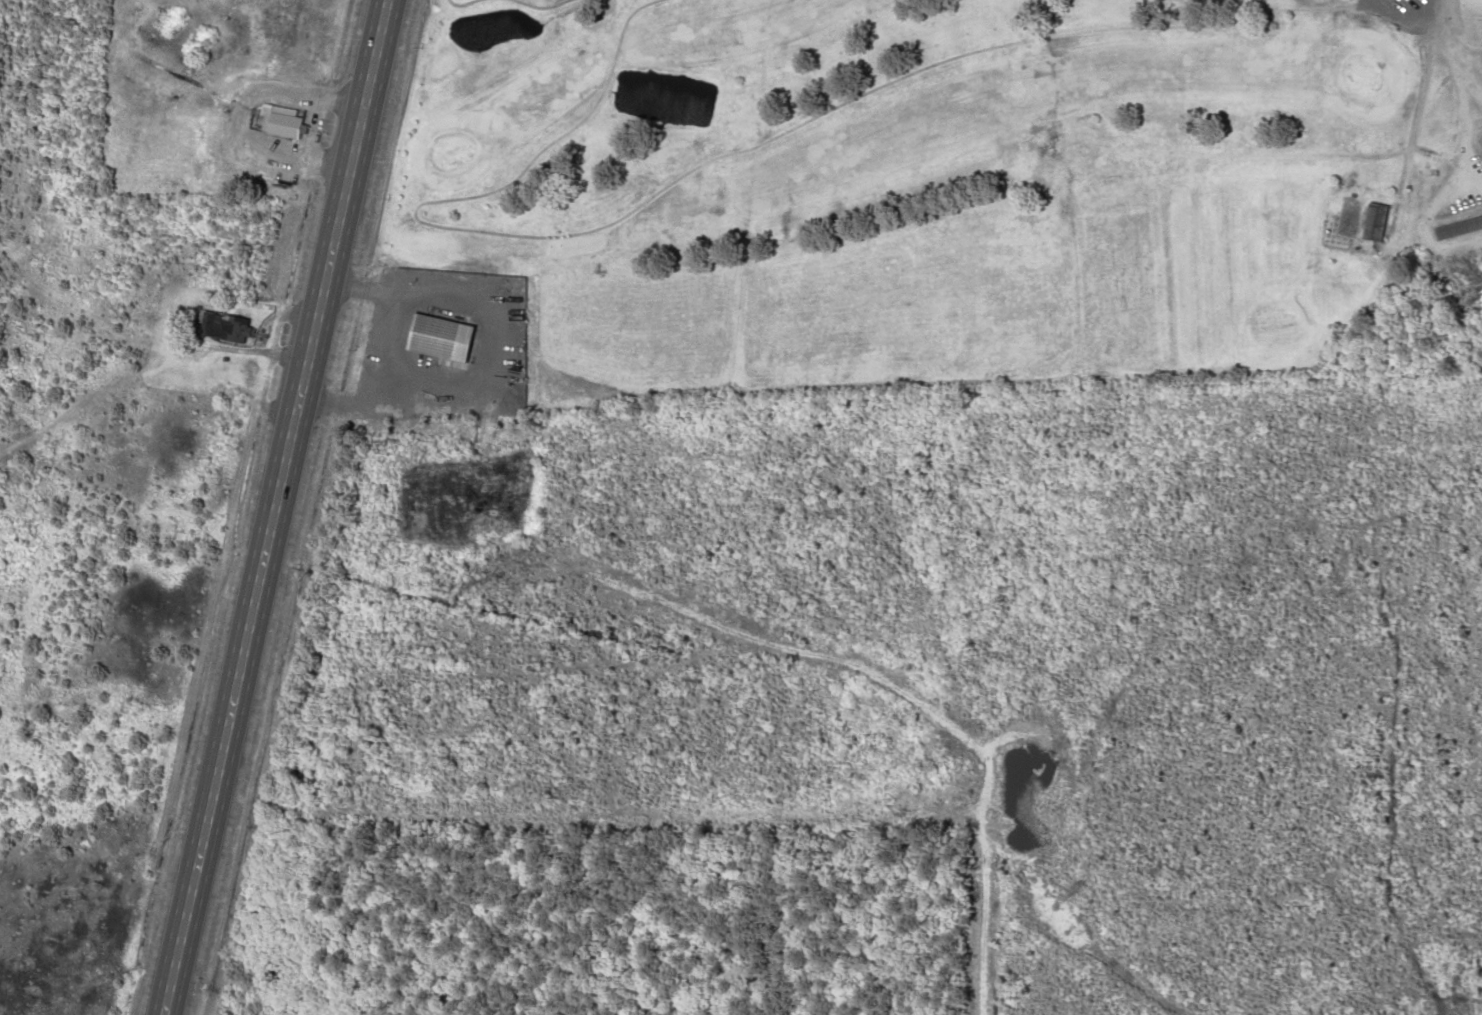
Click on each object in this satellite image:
road: (1436, 70)
building: (279, 121)
building: (1479, 141)
park: (949, 182)
building: (1372, 222)
building: (1456, 228)
building: (224, 328)
building: (437, 337)
road: (272, 507)

